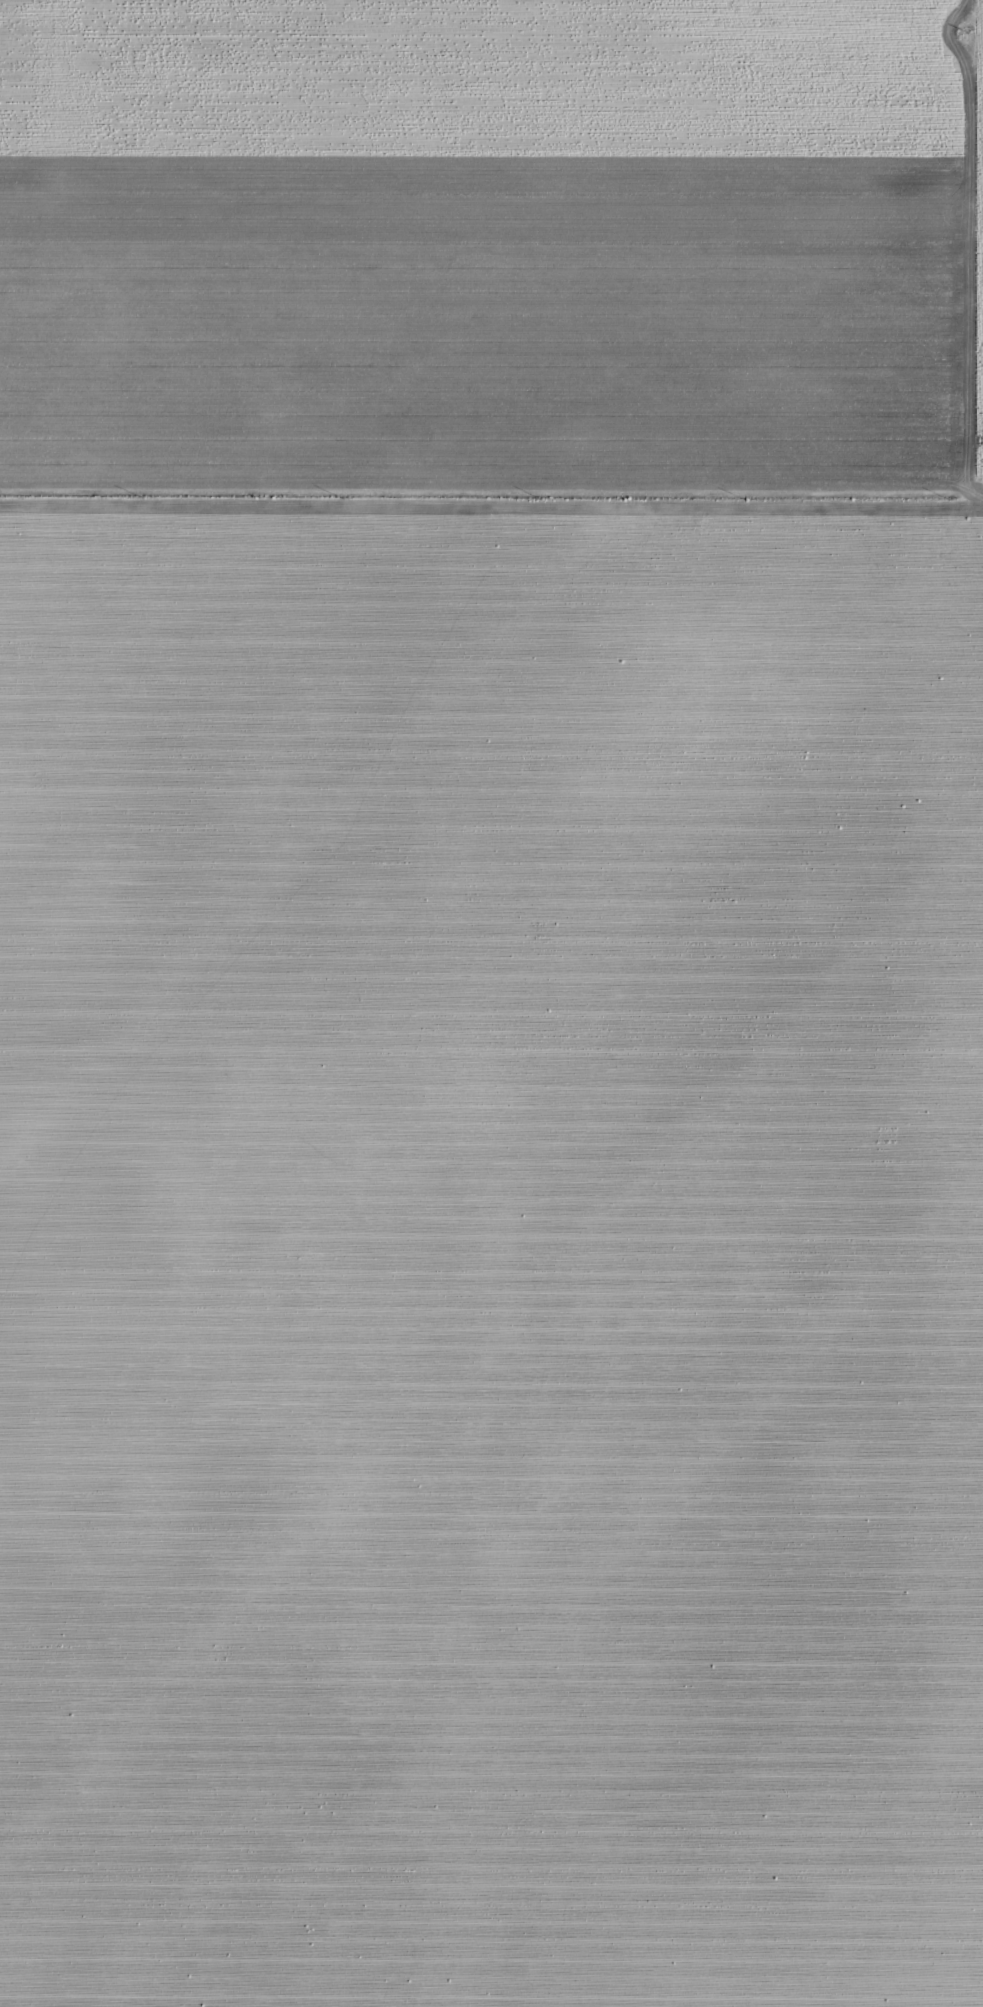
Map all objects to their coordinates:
road: (531, 143)

